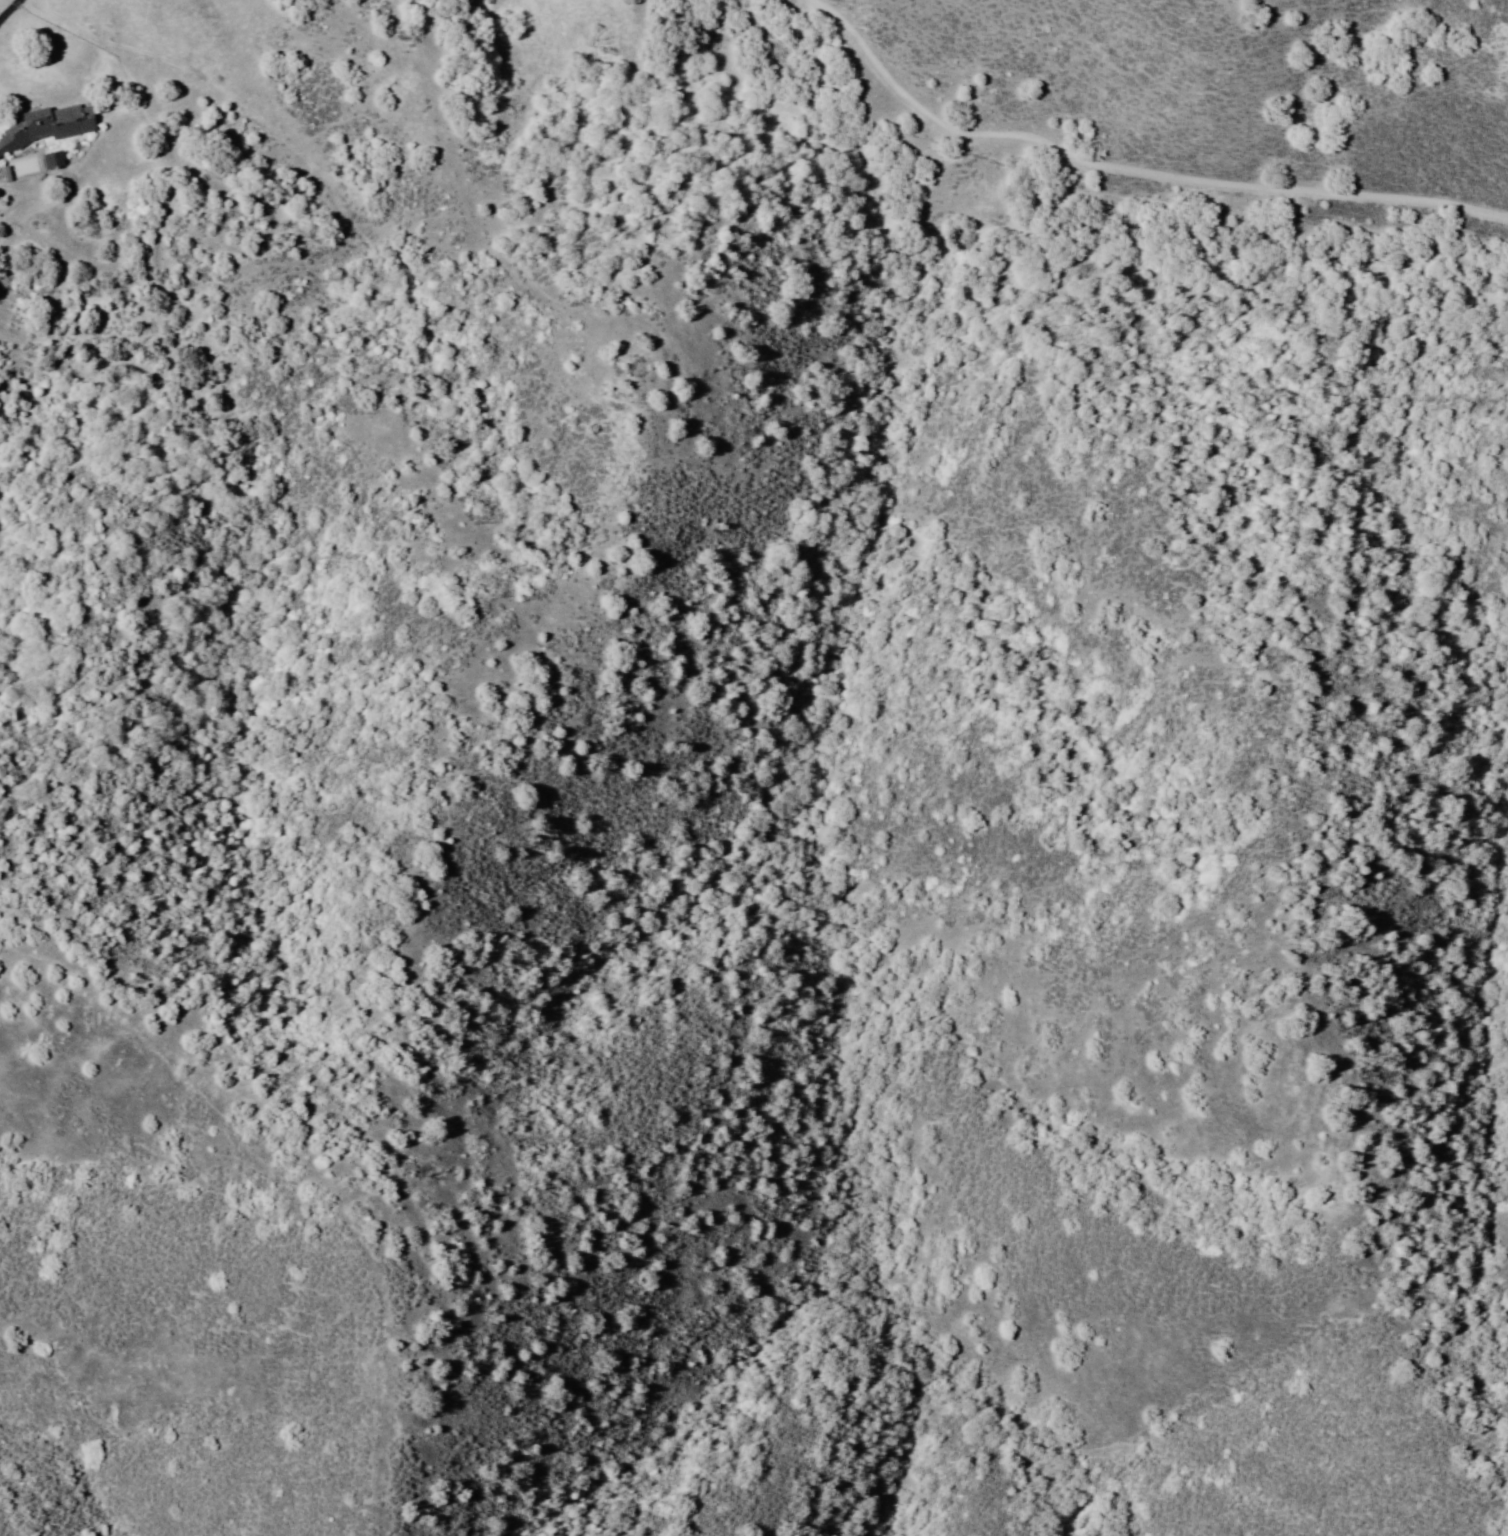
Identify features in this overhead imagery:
building: (47, 126)

